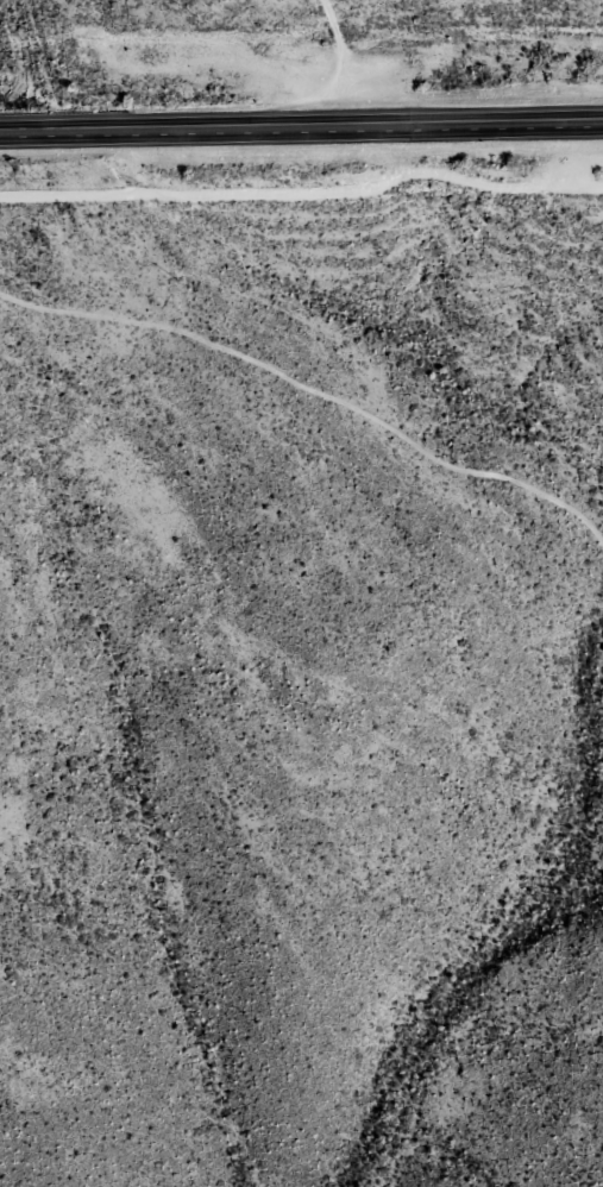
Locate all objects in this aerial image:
road: (301, 127)
road: (337, 375)

